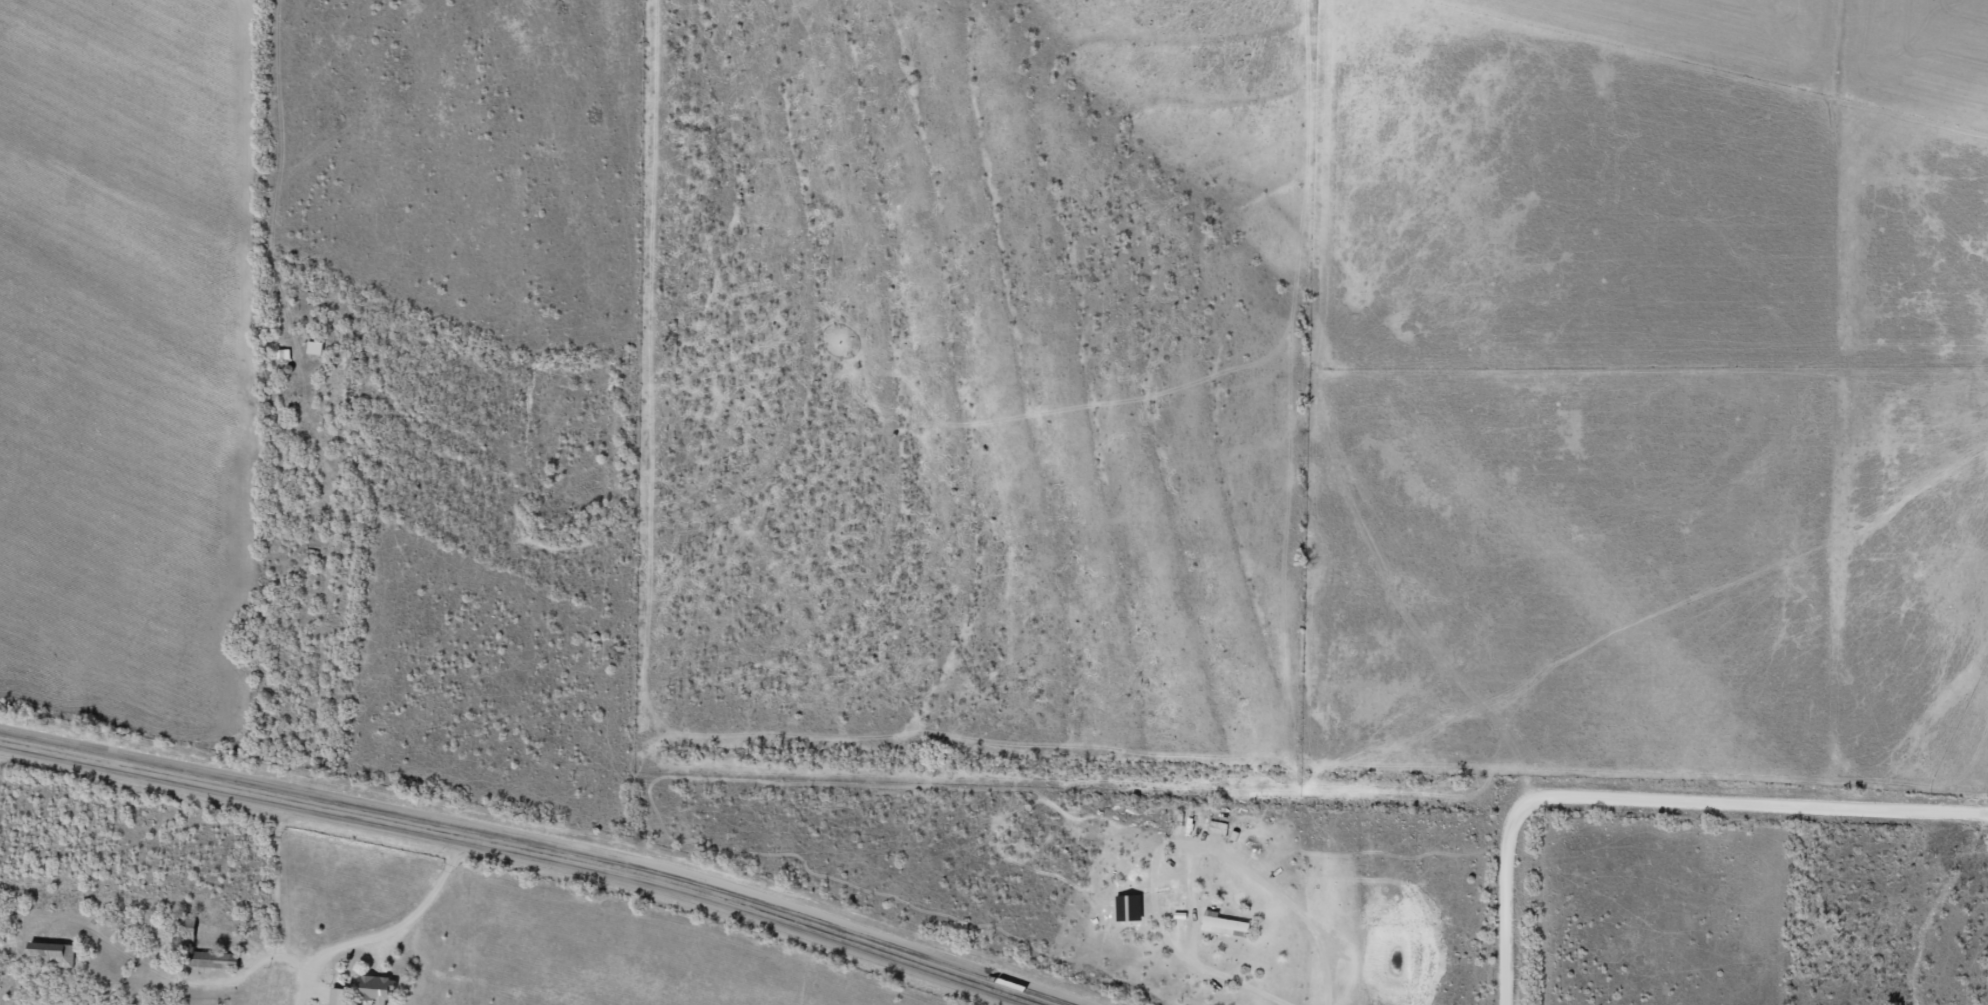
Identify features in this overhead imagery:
building: (316, 347)
road: (1656, 797)
road: (528, 854)
building: (1227, 923)
road: (330, 943)
building: (52, 954)
building: (223, 960)
building: (377, 987)
building: (340, 996)

